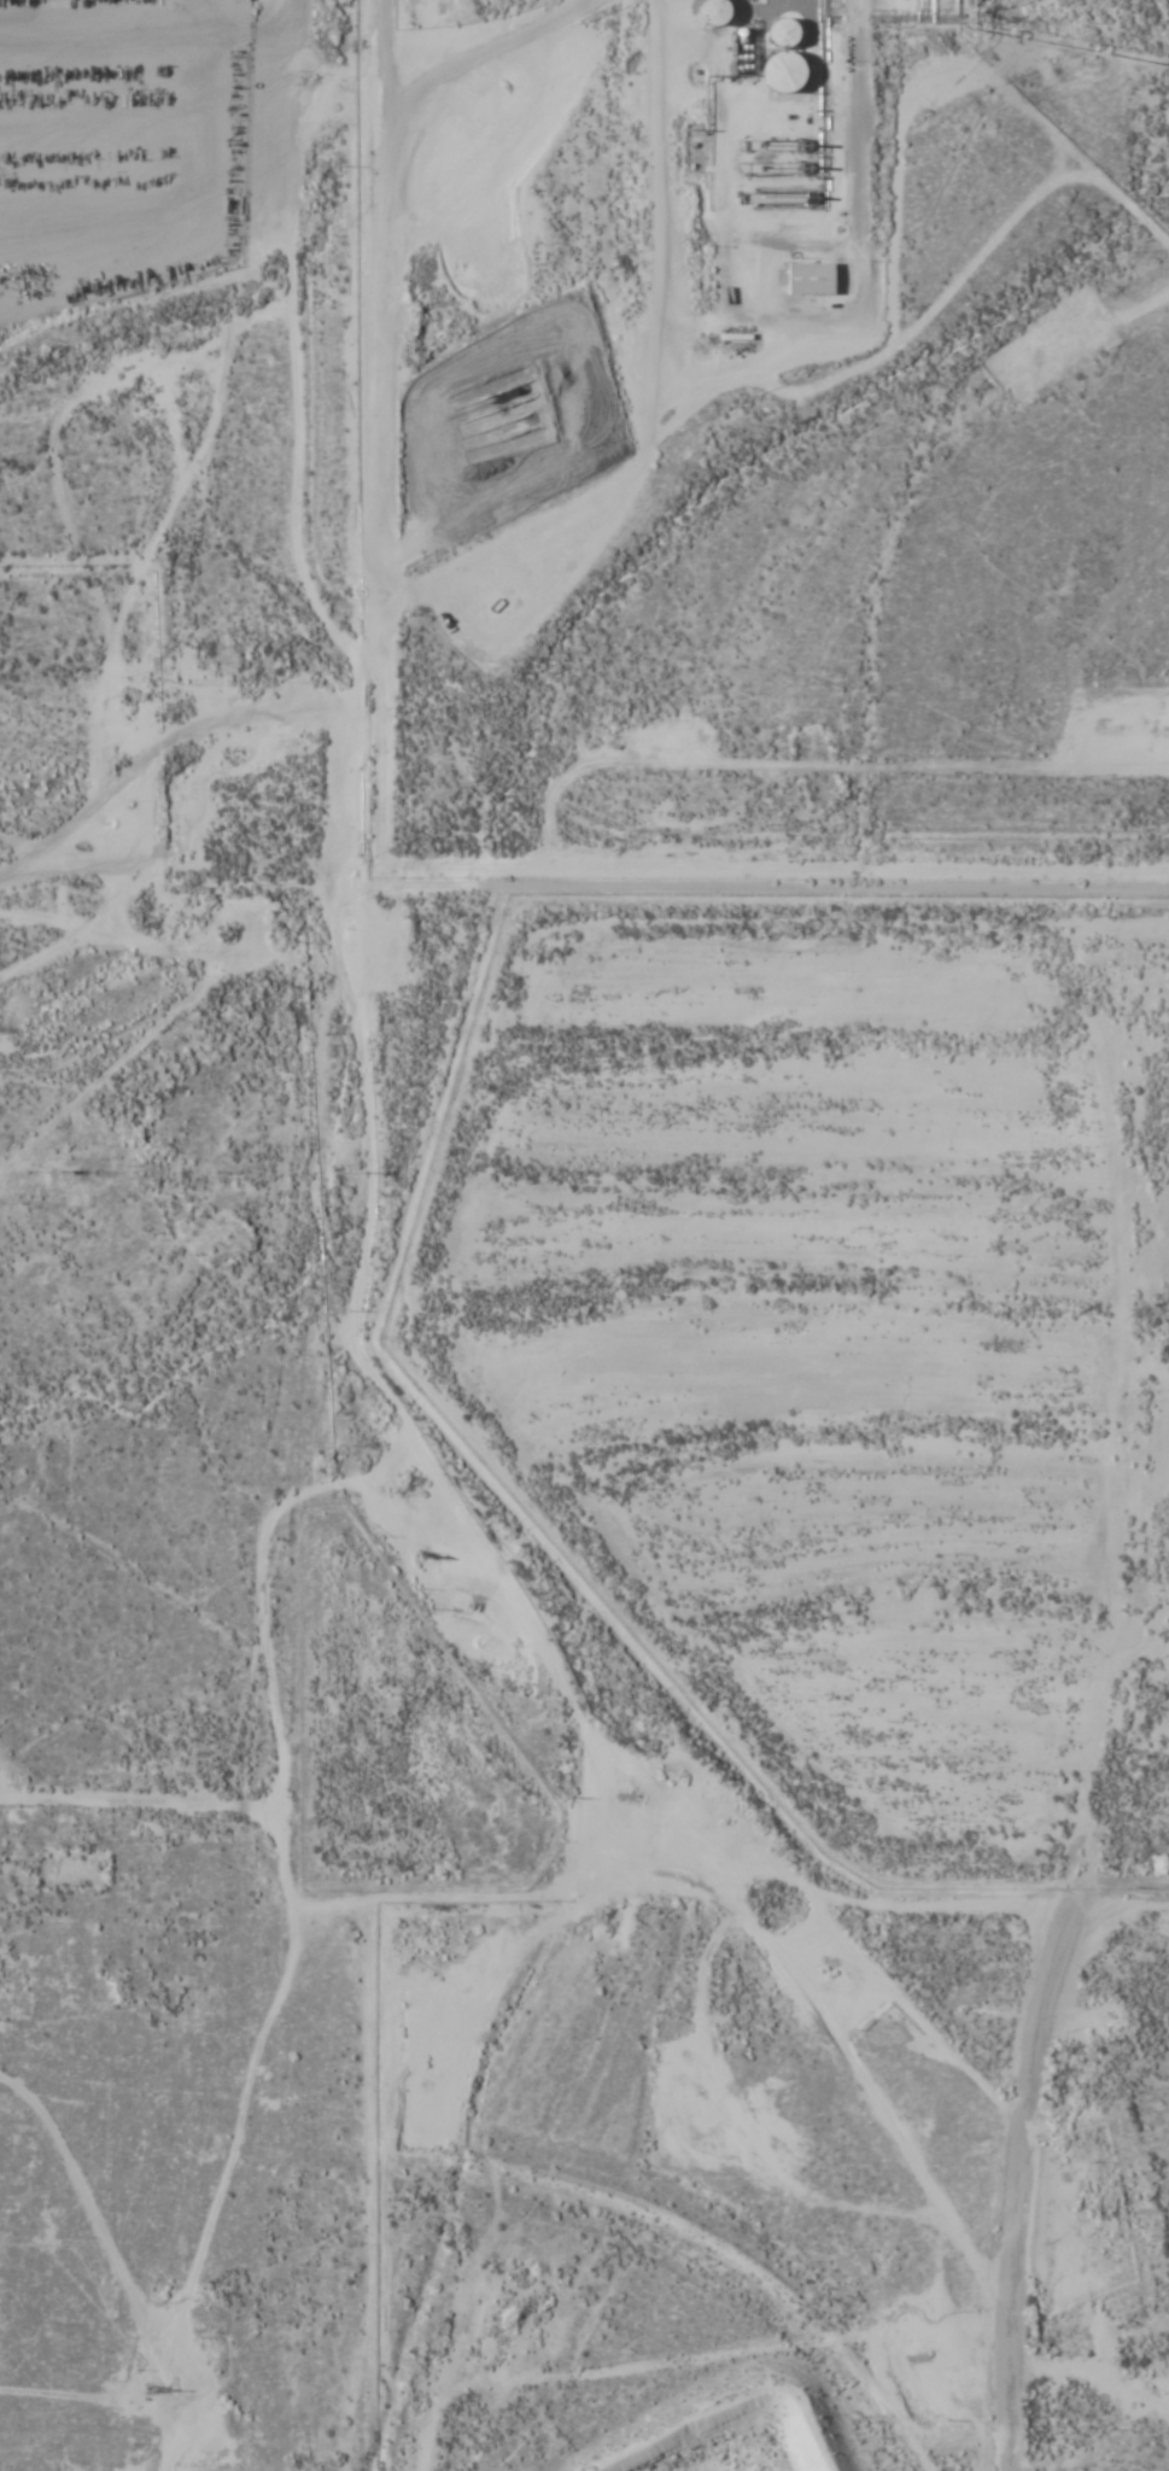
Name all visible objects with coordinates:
road: (199, 461)
road: (152, 876)
road: (525, 881)
road: (853, 1380)
road: (1146, 1388)
road: (6, 1772)
road: (553, 1892)
road: (863, 2080)
road: (1021, 2156)
road: (53, 2463)

